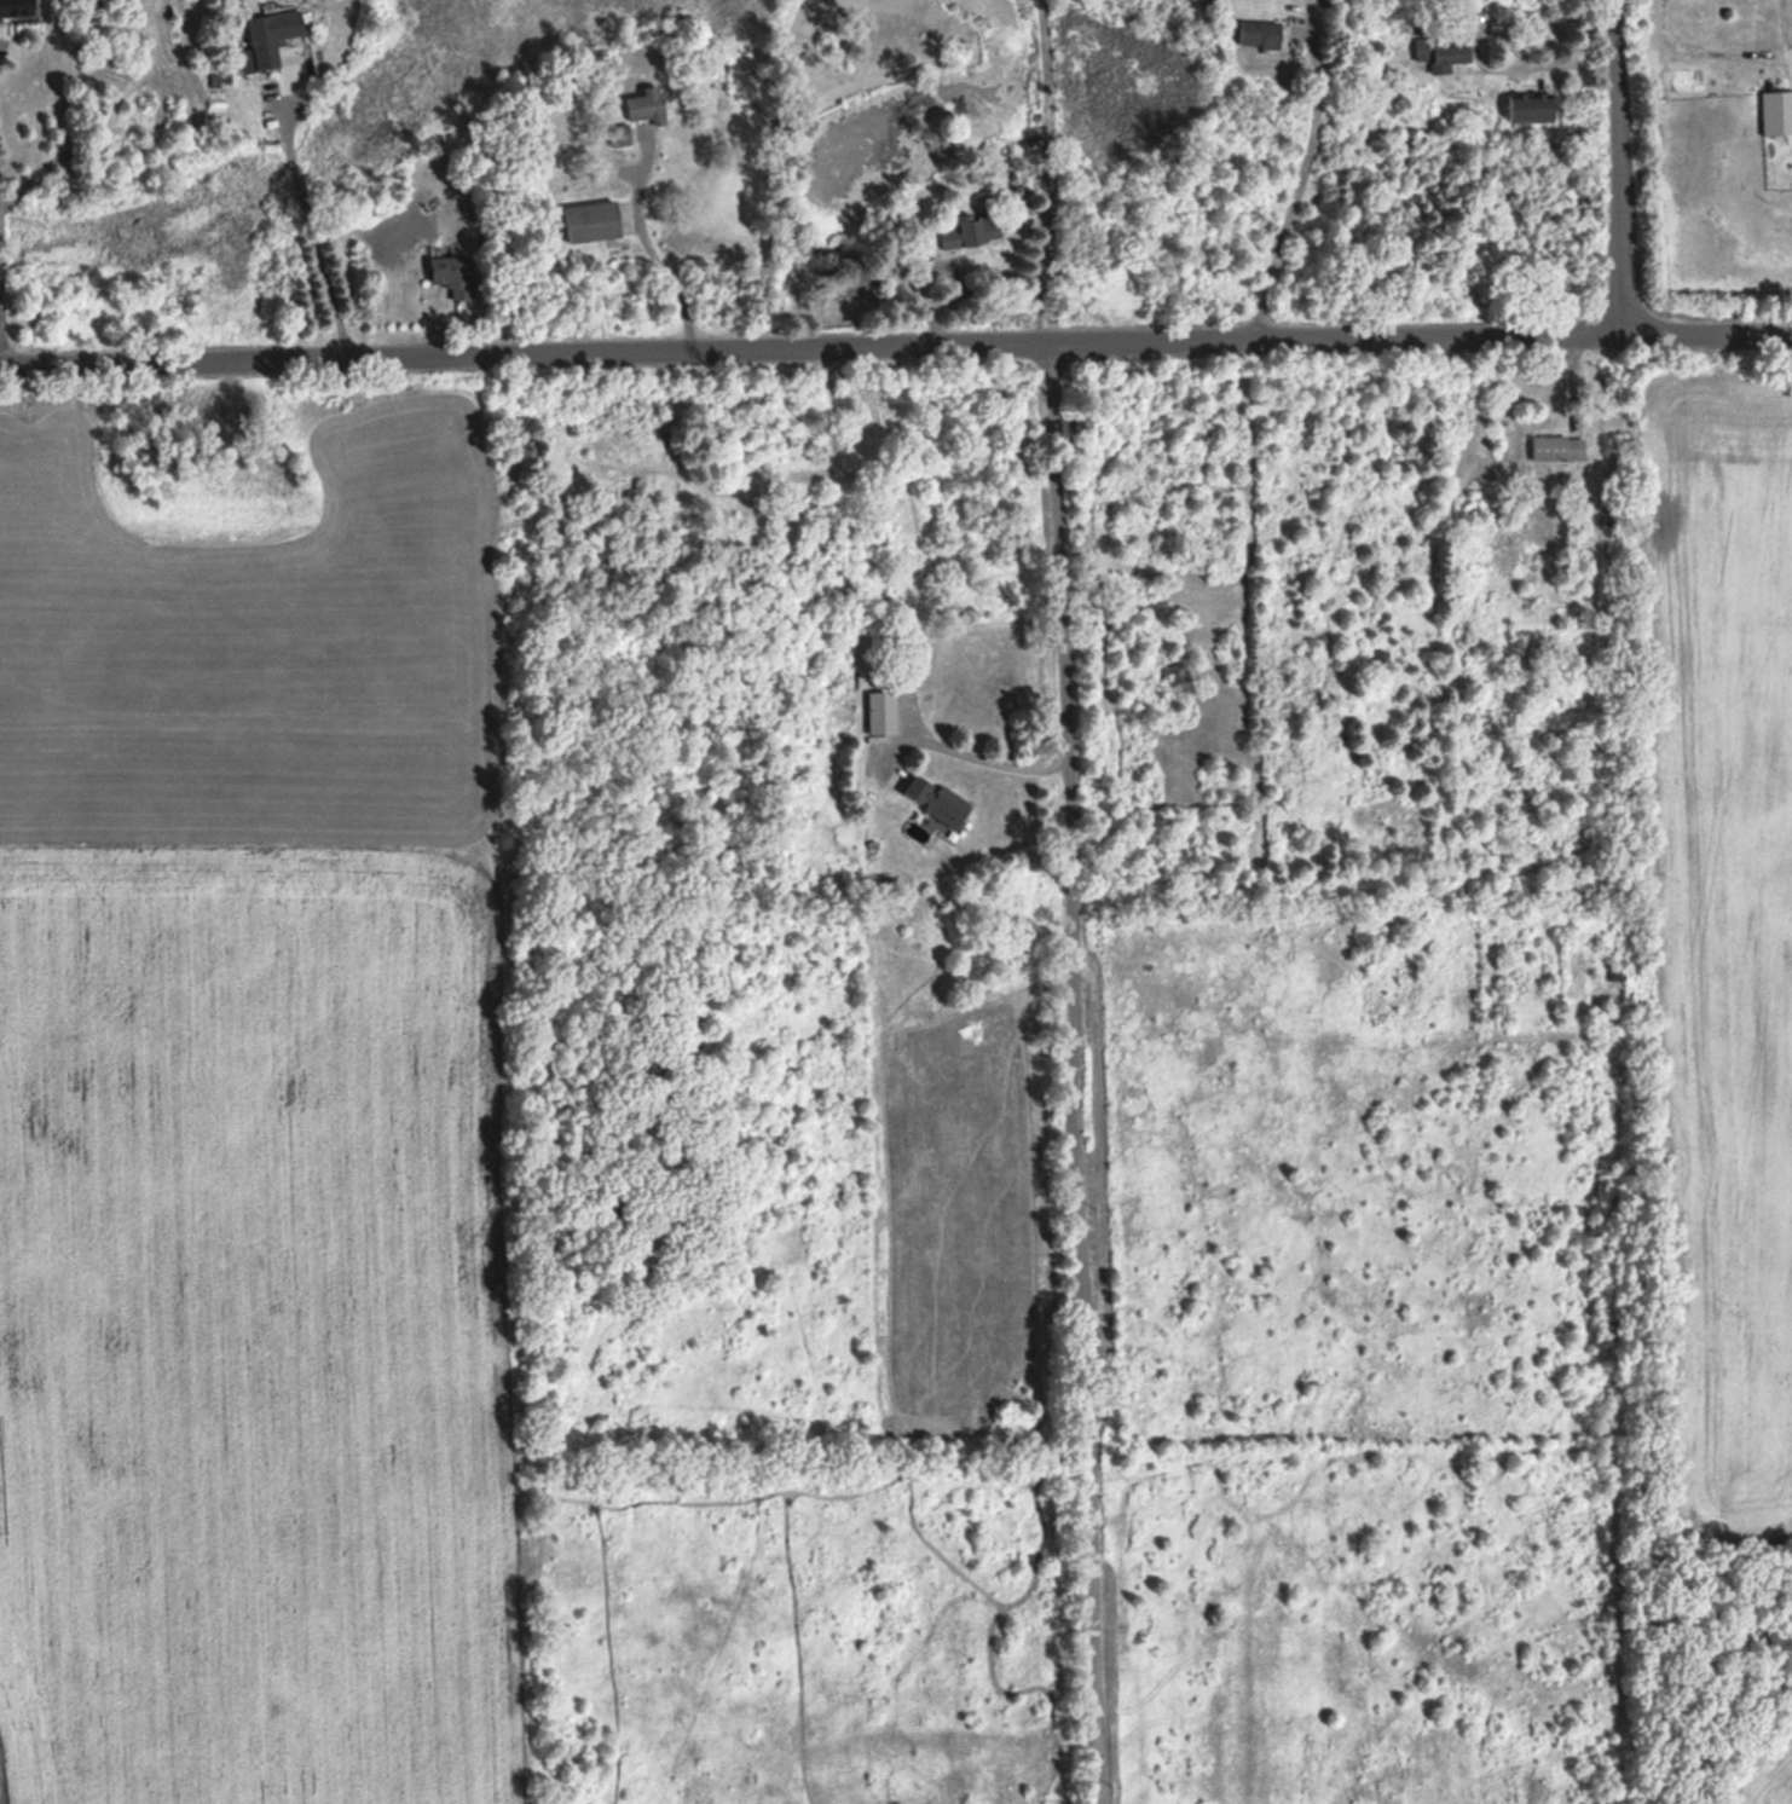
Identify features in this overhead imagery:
building: (18, 6)
building: (1254, 33)
building: (270, 36)
road: (1704, 50)
building: (1437, 54)
road: (1549, 63)
building: (641, 104)
building: (1525, 106)
building: (1774, 111)
building: (614, 133)
road: (1615, 166)
road: (1044, 170)
road: (1294, 197)
building: (588, 220)
building: (967, 227)
road: (311, 235)
road: (663, 251)
building: (446, 274)
road: (2, 305)
road: (895, 343)
building: (1553, 446)
road: (1064, 547)
building: (943, 663)
road: (989, 757)
building: (929, 800)
road: (1082, 1279)

